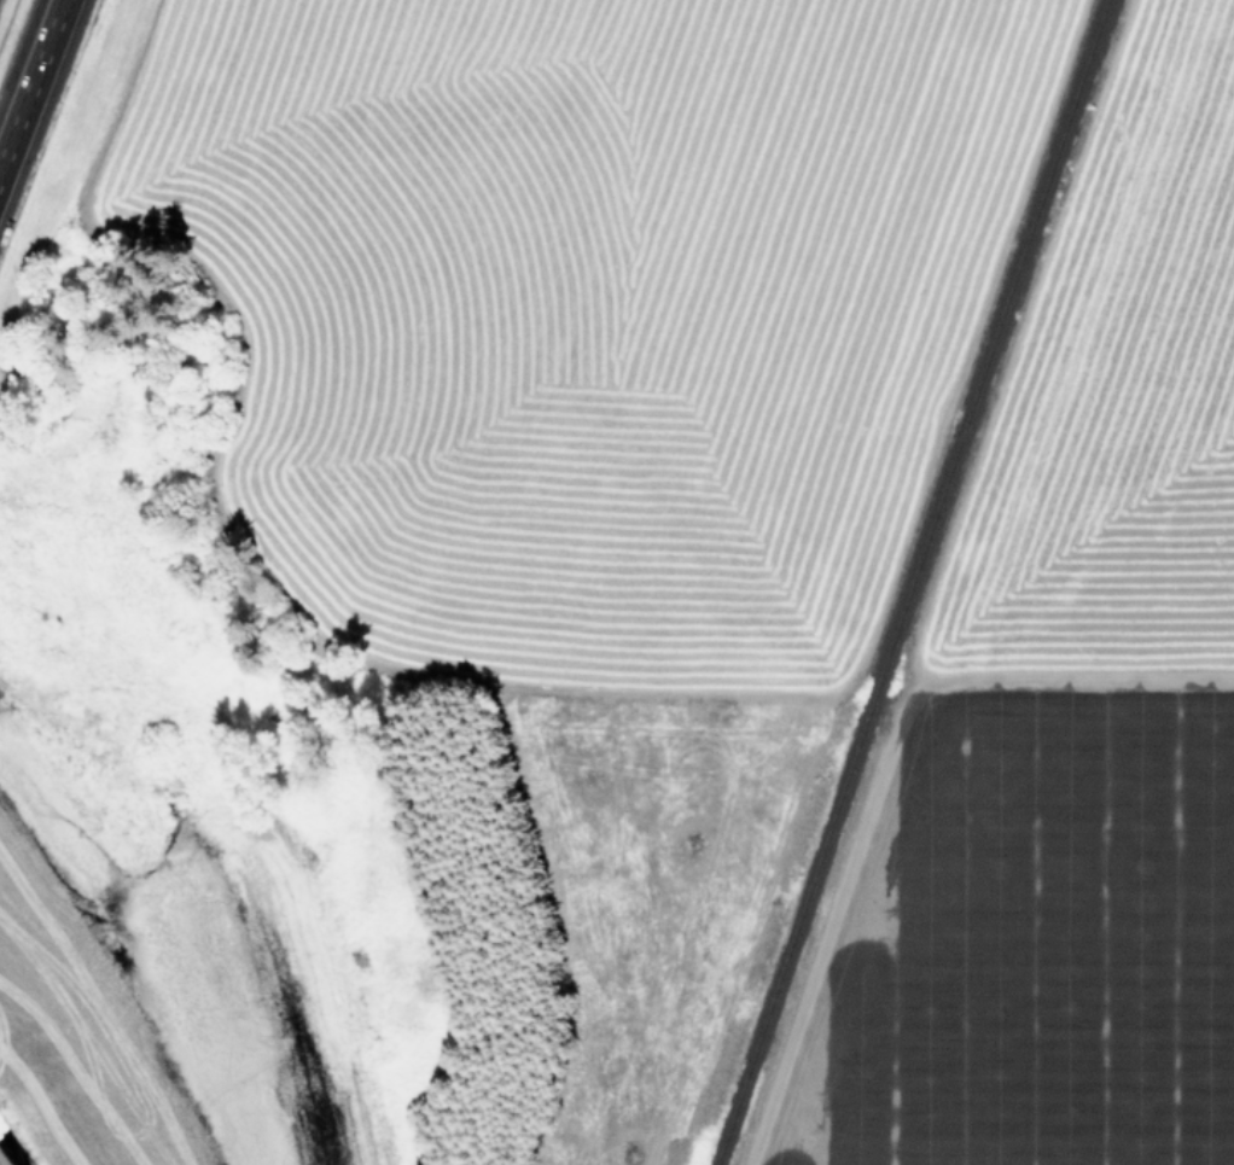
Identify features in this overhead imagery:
road: (30, 82)
railway: (913, 582)
crop: (634, 595)

